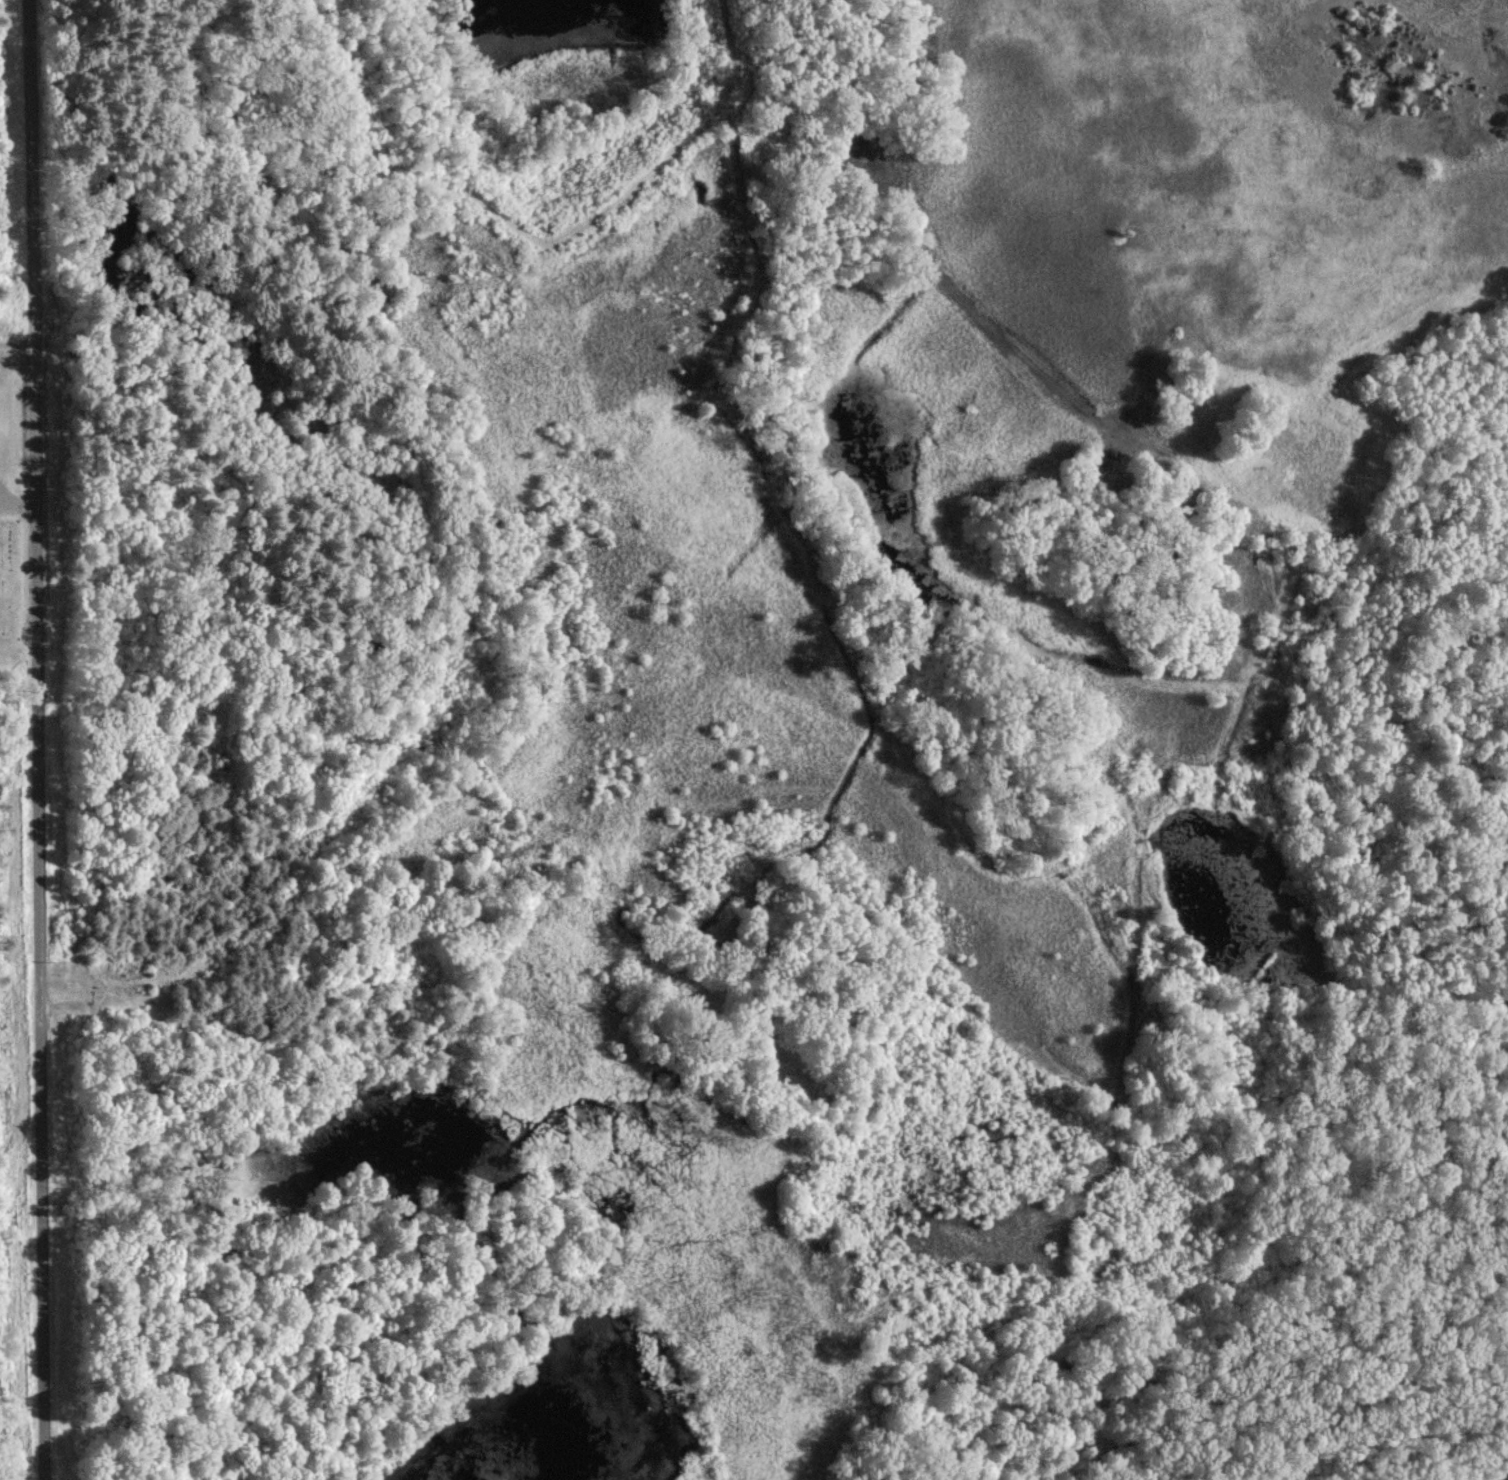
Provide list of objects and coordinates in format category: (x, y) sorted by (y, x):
road: (20, 343)
road: (44, 739)

